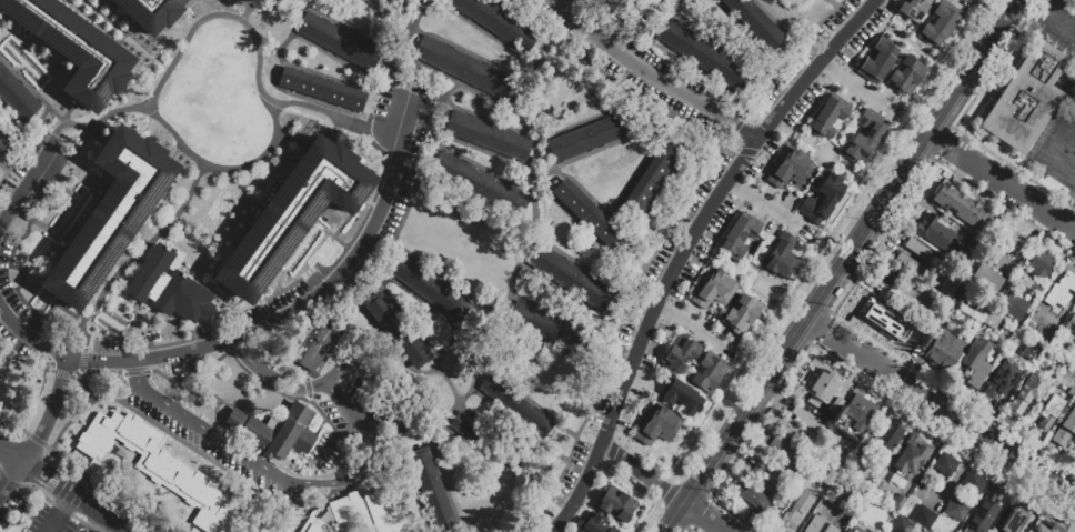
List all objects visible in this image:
building: (391, 0)
building: (249, 1)
road: (381, 2)
road: (679, 2)
road: (833, 3)
street lamp: (890, 8)
street lamp: (213, 9)
road: (254, 9)
road: (384, 9)
parking lot: (584, 9)
parking lot: (846, 9)
building: (915, 9)
building: (149, 12)
road: (890, 12)
street lamp: (194, 14)
road: (641, 14)
road: (244, 16)
road: (234, 17)
road: (669, 20)
road: (516, 21)
road: (623, 22)
building: (757, 22)
road: (775, 22)
building: (498, 23)
road: (1062, 23)
building: (940, 24)
road: (346, 27)
road: (291, 28)
road: (485, 31)
road: (745, 33)
street lamp: (831, 33)
road: (124, 34)
parking lot: (862, 34)
building: (340, 42)
road: (915, 46)
road: (721, 47)
building: (71, 48)
road: (468, 52)
road: (148, 53)
building: (705, 56)
street lamp: (264, 57)
road: (333, 58)
road: (399, 58)
road: (27, 62)
building: (880, 62)
building: (464, 66)
road: (20, 67)
parking lot: (620, 68)
parking lot: (792, 69)
road: (314, 72)
parking lot: (679, 74)
road: (702, 74)
road: (650, 76)
road: (835, 77)
building: (908, 77)
road: (455, 81)
road: (856, 86)
building: (321, 88)
road: (31, 89)
road: (376, 90)
road: (635, 93)
building: (16, 96)
building: (1024, 98)
street lamp: (137, 100)
road: (1074, 100)
street lamp: (52, 106)
road: (514, 108)
road: (70, 109)
street lamp: (281, 112)
parking lot: (402, 119)
building: (830, 119)
road: (12, 120)
road: (336, 123)
road: (575, 124)
parking lot: (782, 130)
road: (304, 131)
street lamp: (165, 132)
road: (99, 134)
building: (590, 134)
road: (22, 137)
building: (489, 137)
road: (330, 138)
road: (938, 138)
road: (9, 139)
building: (864, 139)
road: (803, 140)
road: (1057, 140)
building: (3, 147)
road: (599, 149)
road: (175, 151)
road: (482, 153)
road: (822, 164)
road: (643, 165)
road: (221, 168)
parking lot: (38, 169)
road: (846, 169)
building: (791, 173)
road: (2, 175)
building: (654, 175)
road: (860, 177)
road: (12, 178)
building: (476, 181)
parking lot: (706, 182)
road: (26, 187)
road: (1013, 188)
road: (746, 190)
road: (410, 197)
road: (366, 201)
building: (824, 201)
road: (765, 203)
road: (710, 204)
road: (604, 208)
building: (962, 210)
parking lot: (1, 211)
building: (289, 212)
road: (349, 214)
building: (112, 215)
building: (591, 217)
road: (528, 231)
road: (585, 231)
road: (56, 234)
building: (935, 234)
parking lot: (379, 235)
road: (309, 239)
building: (741, 239)
street lamp: (332, 241)
road: (19, 243)
building: (1012, 243)
road: (140, 245)
building: (978, 247)
road: (654, 250)
parking lot: (701, 250)
road: (848, 250)
building: (917, 251)
road: (140, 257)
road: (339, 257)
road: (177, 258)
building: (784, 258)
building: (996, 259)
road: (171, 263)
road: (815, 265)
building: (908, 265)
road: (730, 267)
building: (1041, 267)
road: (184, 270)
building: (890, 277)
building: (571, 278)
street lamp: (292, 279)
street lamp: (508, 279)
road: (752, 279)
building: (987, 283)
building: (952, 288)
parking lot: (8, 289)
building: (432, 289)
building: (1035, 289)
building: (169, 290)
building: (1062, 291)
building: (715, 294)
road: (570, 295)
road: (60, 301)
building: (968, 302)
road: (422, 304)
parking lot: (639, 305)
parking lot: (263, 308)
building: (1015, 309)
road: (486, 310)
road: (492, 312)
road: (561, 315)
building: (744, 318)
building: (880, 318)
road: (350, 320)
road: (408, 320)
building: (994, 321)
road: (816, 322)
road: (139, 323)
road: (264, 323)
building: (544, 323)
road: (54, 324)
building: (1073, 325)
road: (692, 327)
building: (400, 331)
building: (1047, 332)
road: (294, 341)
road: (167, 342)
building: (914, 342)
building: (315, 343)
parking lot: (20, 347)
road: (57, 347)
parking lot: (652, 347)
parking lot: (114, 348)
building: (945, 353)
road: (330, 354)
building: (1035, 354)
building: (681, 357)
building: (1009, 362)
road: (235, 364)
building: (977, 364)
building: (1072, 369)
parking lot: (163, 372)
road: (270, 374)
building: (710, 374)
road: (46, 377)
building: (1051, 380)
road: (452, 382)
building: (1001, 382)
road: (73, 388)
building: (824, 388)
road: (380, 390)
road: (641, 395)
road: (299, 398)
building: (682, 400)
road: (217, 402)
road: (531, 402)
building: (515, 404)
road: (495, 408)
building: (1022, 408)
parking lot: (630, 410)
building: (832, 410)
road: (49, 413)
road: (951, 413)
building: (1051, 414)
building: (858, 415)
building: (786, 426)
building: (816, 426)
building: (275, 431)
building: (659, 431)
building: (1066, 433)
building: (891, 436)
building: (483, 439)
road: (511, 441)
building: (784, 453)
road: (436, 454)
building: (913, 456)
building: (862, 458)
road: (17, 460)
parking lot: (577, 461)
road: (494, 463)
building: (159, 466)
building: (946, 468)
road: (272, 472)
road: (641, 472)
road: (87, 473)
road: (53, 475)
road: (44, 478)
building: (770, 481)
road: (11, 482)
building: (975, 485)
building: (431, 488)
road: (30, 489)
road: (580, 490)
road: (64, 501)
building: (751, 501)
parking lot: (9, 502)
building: (840, 502)
building: (802, 504)
building: (616, 506)
road: (92, 508)
building: (359, 512)
building: (957, 512)
building: (985, 512)
building: (885, 515)
road: (673, 516)
road: (705, 516)
building: (1016, 519)
building: (925, 520)
parking lot: (47, 521)
road: (52, 521)
building: (595, 525)
building: (816, 525)
building: (853, 529)
building: (1048, 529)
building: (832, 530)

